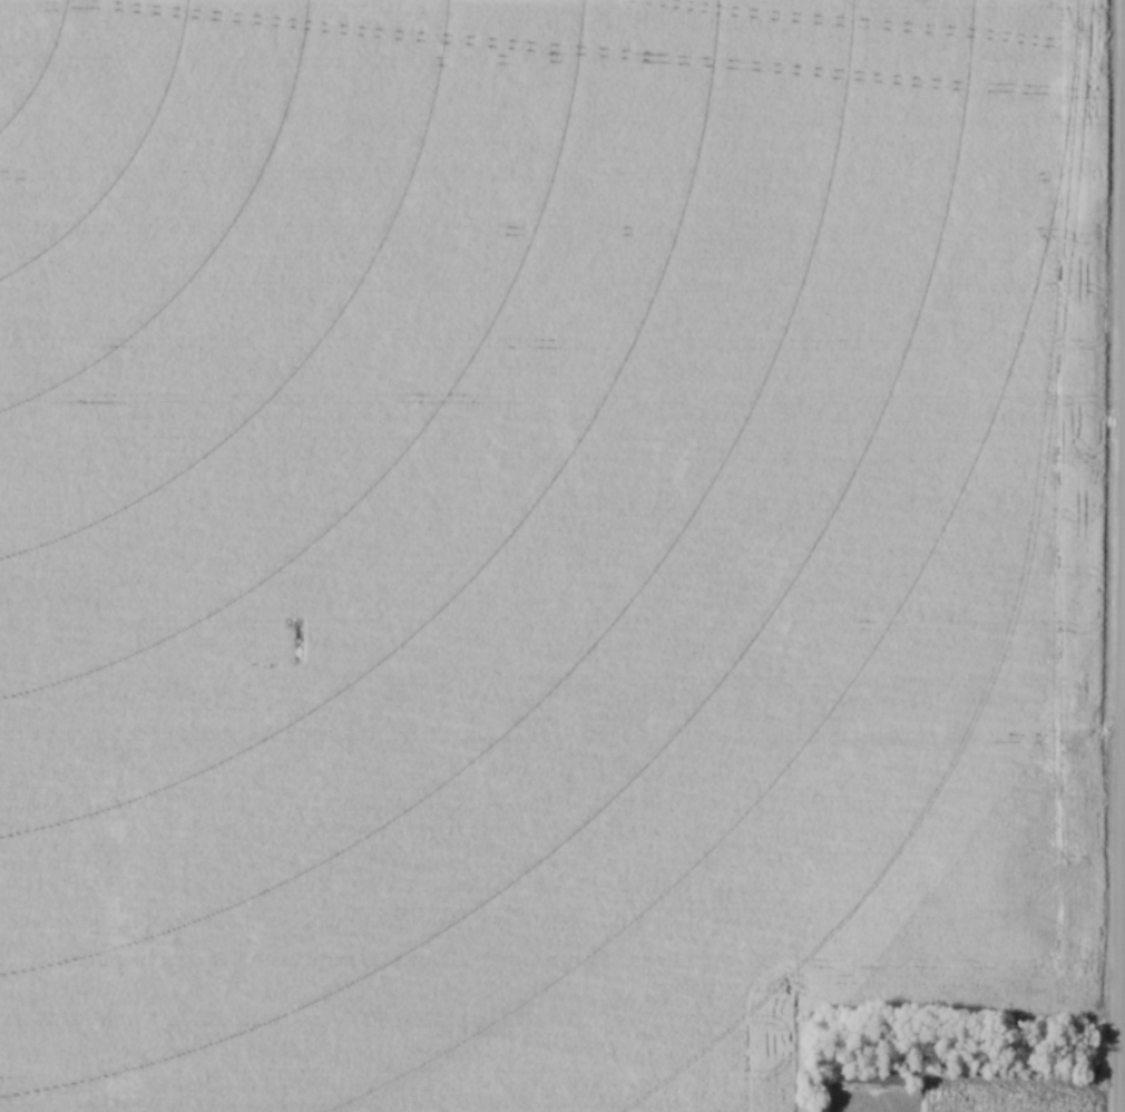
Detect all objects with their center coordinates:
road: (1118, 555)
building: (874, 1077)

